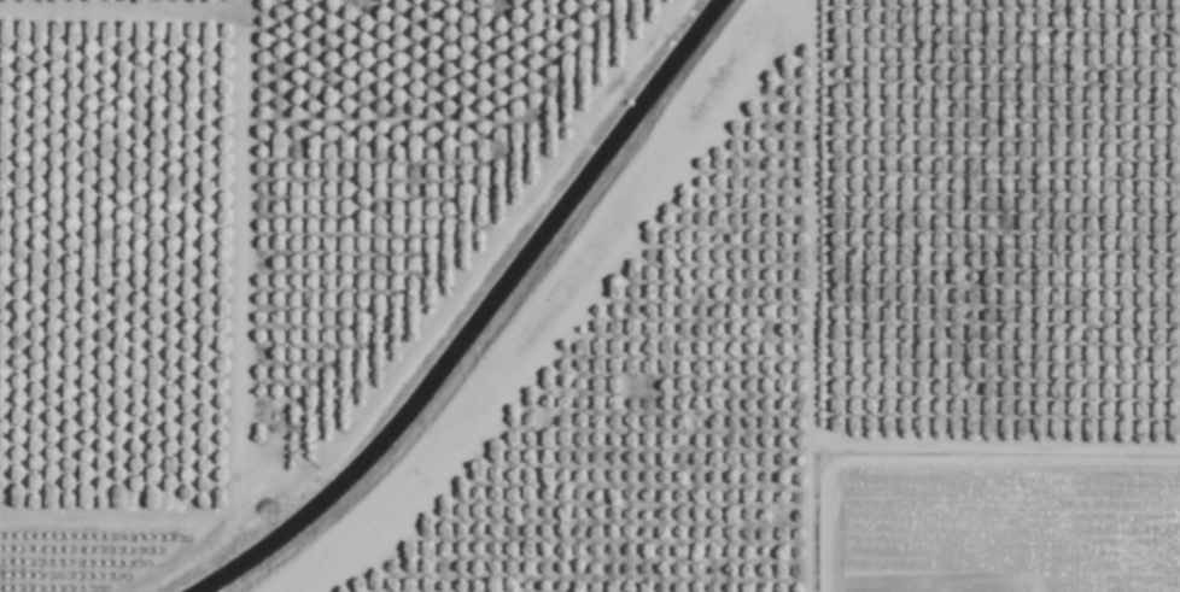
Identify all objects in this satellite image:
road: (799, 295)

